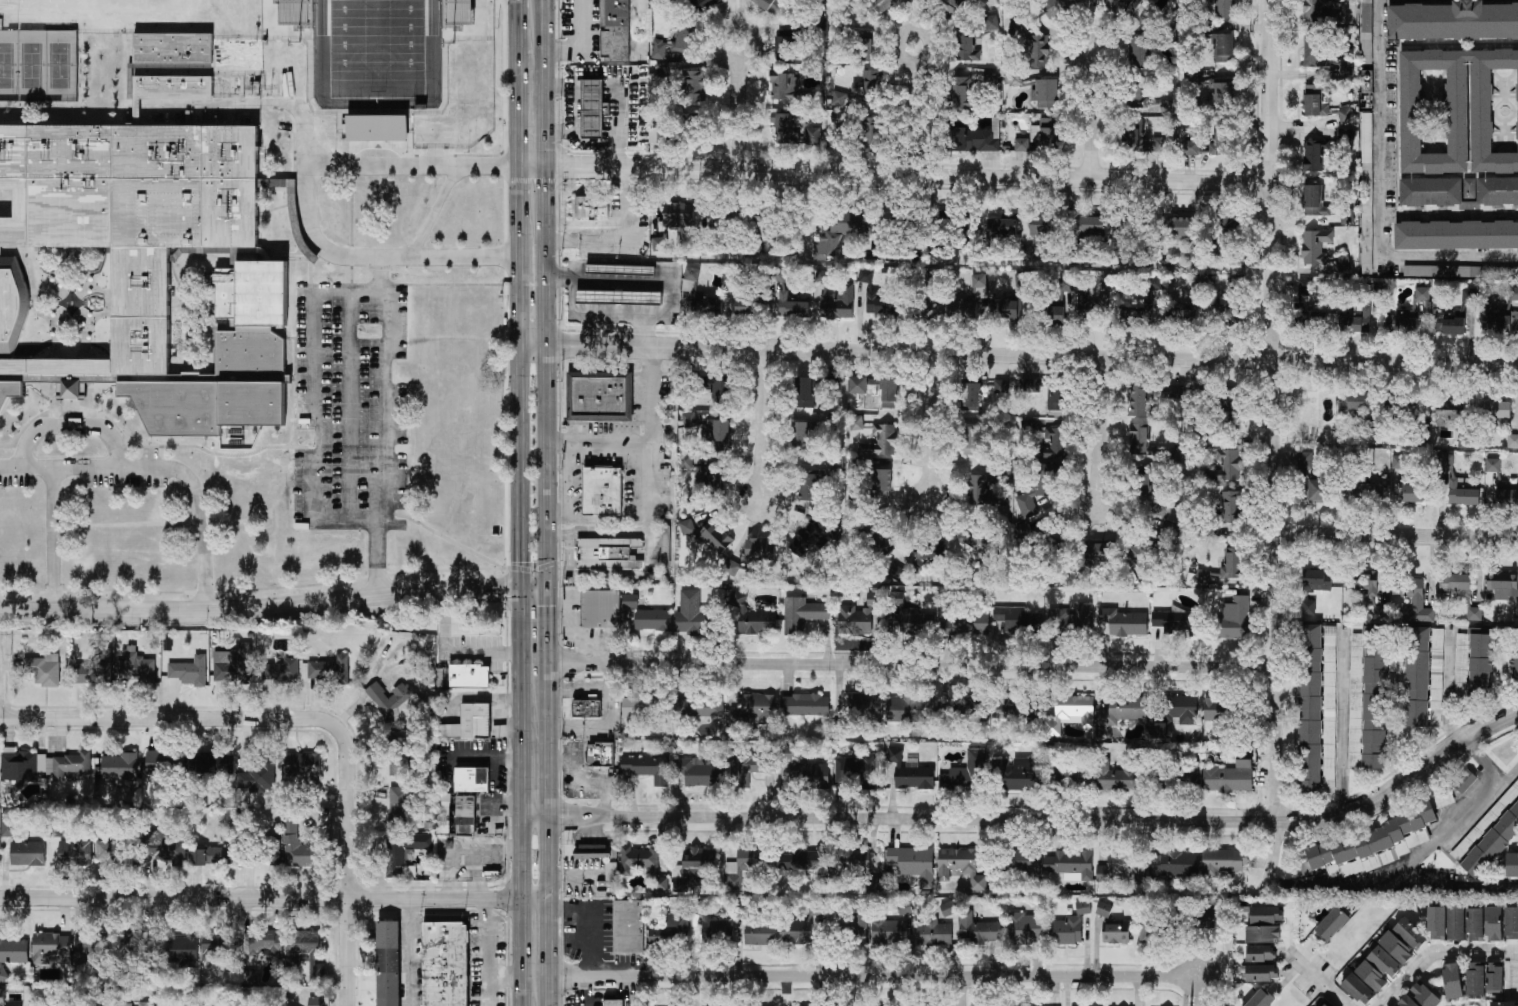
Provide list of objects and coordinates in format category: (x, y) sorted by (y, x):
park: (87, 4)
building: (706, 5)
building: (771, 5)
building: (880, 6)
building: (947, 6)
building: (1124, 6)
building: (1226, 9)
building: (1317, 9)
building: (296, 12)
building: (459, 12)
building: (1453, 21)
building: (991, 23)
road: (635, 24)
building: (615, 31)
building: (1367, 32)
road: (925, 37)
road: (580, 41)
building: (677, 43)
building: (787, 44)
building: (865, 46)
building: (967, 48)
building: (1223, 48)
building: (172, 49)
building: (1037, 50)
building: (1139, 51)
building: (1315, 51)
park: (379, 52)
park: (7, 66)
park: (31, 66)
park: (59, 66)
building: (1346, 68)
building: (686, 80)
building: (785, 86)
building: (869, 87)
building: (959, 92)
building: (1046, 94)
building: (1217, 95)
building: (839, 99)
building: (1313, 100)
building: (1147, 101)
road: (250, 103)
road: (1383, 103)
road: (443, 107)
road: (742, 108)
building: (593, 109)
road: (315, 110)
building: (1459, 112)
building: (691, 113)
road: (1094, 114)
building: (1345, 114)
road: (917, 118)
building: (375, 128)
building: (794, 132)
building: (871, 132)
building: (1049, 133)
building: (660, 136)
building: (1344, 137)
building: (976, 139)
building: (1136, 140)
building: (1220, 144)
building: (1022, 145)
building: (1161, 145)
building: (1312, 156)
road: (520, 173)
road: (546, 173)
road: (896, 176)
building: (1470, 189)
building: (1431, 192)
building: (1497, 192)
building: (1367, 194)
building: (1314, 202)
road: (308, 203)
building: (591, 208)
road: (434, 212)
building: (681, 214)
building: (948, 219)
building: (1042, 224)
building: (759, 225)
building: (1222, 227)
building: (1002, 228)
building: (1094, 228)
building: (842, 232)
building: (1180, 235)
building: (1456, 235)
building: (659, 244)
building: (1315, 246)
building: (1029, 251)
road: (1426, 256)
building: (1343, 264)
building: (136, 265)
building: (607, 269)
road: (381, 270)
building: (1461, 272)
building: (692, 274)
building: (865, 276)
building: (1023, 279)
road: (650, 284)
building: (1067, 285)
building: (979, 286)
road: (348, 293)
building: (1513, 293)
building: (1422, 294)
building: (1469, 295)
building: (1086, 299)
building: (1308, 302)
building: (838, 304)
building: (880, 304)
road: (573, 305)
building: (706, 305)
building: (790, 306)
building: (746, 307)
building: (938, 309)
building: (1361, 309)
building: (1007, 310)
building: (1227, 310)
building: (962, 311)
building: (1054, 313)
building: (1185, 313)
road: (602, 314)
building: (1138, 316)
building: (1498, 320)
building: (1402, 321)
building: (1450, 323)
road: (536, 346)
road: (1034, 356)
building: (1001, 386)
building: (876, 391)
building: (804, 392)
building: (1171, 392)
building: (722, 393)
building: (971, 394)
building: (599, 396)
building: (1057, 397)
building: (1141, 400)
building: (1356, 402)
road: (351, 405)
road: (314, 407)
building: (1401, 408)
parking lot: (352, 409)
building: (1495, 410)
road: (1275, 411)
building: (1309, 411)
building: (1450, 412)
building: (689, 419)
road: (73, 422)
road: (758, 426)
road: (930, 428)
road: (1096, 429)
building: (717, 434)
building: (801, 436)
building: (1327, 437)
road: (388, 438)
building: (1141, 440)
road: (600, 441)
building: (971, 441)
building: (1466, 441)
building: (1512, 441)
building: (881, 442)
building: (1055, 444)
building: (686, 461)
road: (547, 465)
building: (837, 465)
building: (855, 465)
building: (1493, 465)
road: (522, 466)
building: (1225, 466)
building: (1399, 466)
parking lot: (90, 471)
road: (28, 473)
building: (1303, 474)
road: (567, 478)
road: (646, 480)
building: (1143, 481)
road: (187, 482)
building: (712, 482)
building: (880, 484)
building: (808, 487)
building: (1041, 487)
building: (602, 491)
building: (1320, 491)
building: (981, 492)
building: (1371, 493)
building: (1462, 493)
building: (1412, 494)
building: (1507, 495)
building: (1230, 507)
road: (349, 518)
building: (687, 527)
building: (1025, 530)
building: (813, 537)
road: (1398, 537)
building: (715, 539)
road: (57, 541)
building: (758, 552)
building: (931, 552)
building: (1103, 553)
building: (608, 554)
building: (1137, 557)
building: (1232, 563)
building: (1202, 577)
building: (1316, 580)
building: (1363, 581)
building: (1455, 585)
building: (1502, 585)
traffic signals: (522, 586)
road: (534, 586)
traffic signals: (546, 586)
building: (874, 599)
building: (630, 601)
building: (1414, 601)
building: (1308, 607)
road: (261, 608)
building: (601, 609)
building: (1516, 612)
building: (1379, 613)
building: (691, 614)
building: (802, 614)
building: (1474, 614)
building: (909, 618)
building: (1018, 619)
building: (1236, 619)
building: (854, 620)
building: (757, 622)
building: (1071, 622)
building: (1177, 622)
road: (547, 624)
building: (964, 624)
building: (1122, 624)
road: (0, 633)
road: (454, 651)
building: (1481, 662)
building: (1462, 664)
building: (234, 665)
road: (912, 666)
building: (1515, 667)
building: (136, 668)
building: (329, 669)
building: (44, 670)
building: (95, 670)
building: (190, 671)
building: (284, 671)
building: (469, 676)
building: (1417, 677)
building: (1437, 677)
road: (1447, 687)
building: (1356, 699)
building: (1375, 699)
building: (394, 701)
building: (805, 705)
building: (644, 706)
building: (700, 707)
building: (865, 707)
building: (1181, 708)
building: (587, 709)
building: (1311, 709)
building: (1330, 709)
building: (755, 710)
building: (910, 710)
building: (1123, 710)
building: (1217, 710)
building: (1017, 711)
building: (1069, 713)
road: (257, 718)
road: (1342, 721)
building: (470, 722)
building: (1158, 731)
building: (601, 755)
building: (398, 756)
building: (206, 762)
building: (159, 763)
road: (1484, 763)
building: (21, 764)
building: (303, 765)
building: (69, 766)
building: (120, 766)
building: (647, 768)
building: (749, 768)
building: (855, 770)
building: (807, 771)
building: (699, 773)
building: (910, 773)
building: (967, 774)
building: (1018, 774)
building: (1072, 774)
building: (259, 777)
building: (1229, 777)
building: (1115, 778)
building: (472, 780)
road: (548, 781)
building: (1181, 781)
building: (1464, 781)
road: (1404, 784)
road: (522, 795)
building: (399, 802)
building: (444, 813)
building: (465, 816)
road: (900, 818)
road: (1463, 820)
building: (8, 824)
building: (1490, 835)
building: (298, 845)
building: (164, 847)
building: (593, 851)
building: (75, 852)
building: (405, 852)
building: (28, 853)
building: (220, 856)
road: (1274, 856)
building: (199, 857)
building: (269, 857)
building: (806, 860)
building: (1025, 861)
building: (860, 862)
building: (1222, 862)
building: (1070, 863)
building: (1174, 863)
building: (643, 864)
building: (912, 864)
building: (746, 865)
building: (1512, 865)
building: (961, 866)
building: (695, 868)
building: (1124, 868)
building: (611, 871)
road: (1478, 877)
road: (1336, 884)
road: (1453, 886)
road: (274, 900)
building: (1083, 907)
building: (948, 909)
building: (1104, 909)
building: (1206, 917)
building: (1437, 923)
building: (1456, 923)
building: (1511, 923)
building: (1332, 924)
building: (1475, 924)
building: (1494, 924)
building: (1265, 925)
building: (628, 927)
building: (978, 930)
building: (1026, 930)
building: (1150, 930)
building: (1067, 931)
building: (718, 932)
building: (797, 932)
building: (890, 932)
building: (933, 932)
building: (669, 933)
building: (1116, 933)
building: (1410, 934)
building: (761, 935)
road: (548, 938)
building: (258, 943)
building: (219, 945)
building: (1396, 948)
building: (51, 949)
building: (93, 950)
building: (180, 950)
building: (307, 950)
road: (1437, 952)
road: (350, 953)
road: (408, 953)
road: (486, 953)
building: (1260, 953)
building: (12, 954)
building: (1384, 960)
building: (388, 964)
building: (444, 965)
building: (1261, 973)
building: (1371, 976)
road: (536, 977)
road: (874, 977)
building: (1495, 977)
building: (1475, 979)
road: (1317, 980)
building: (1452, 981)
building: (1358, 989)
road: (549, 991)
road: (962, 991)
building: (1425, 995)
building: (2, 996)
building: (1261, 999)
building: (314, 1001)
building: (1407, 1001)
building: (190, 1002)
building: (1319, 1002)
building: (613, 1003)
building: (143, 1004)
building: (1504, 1004)
building: (1324, 1005)

